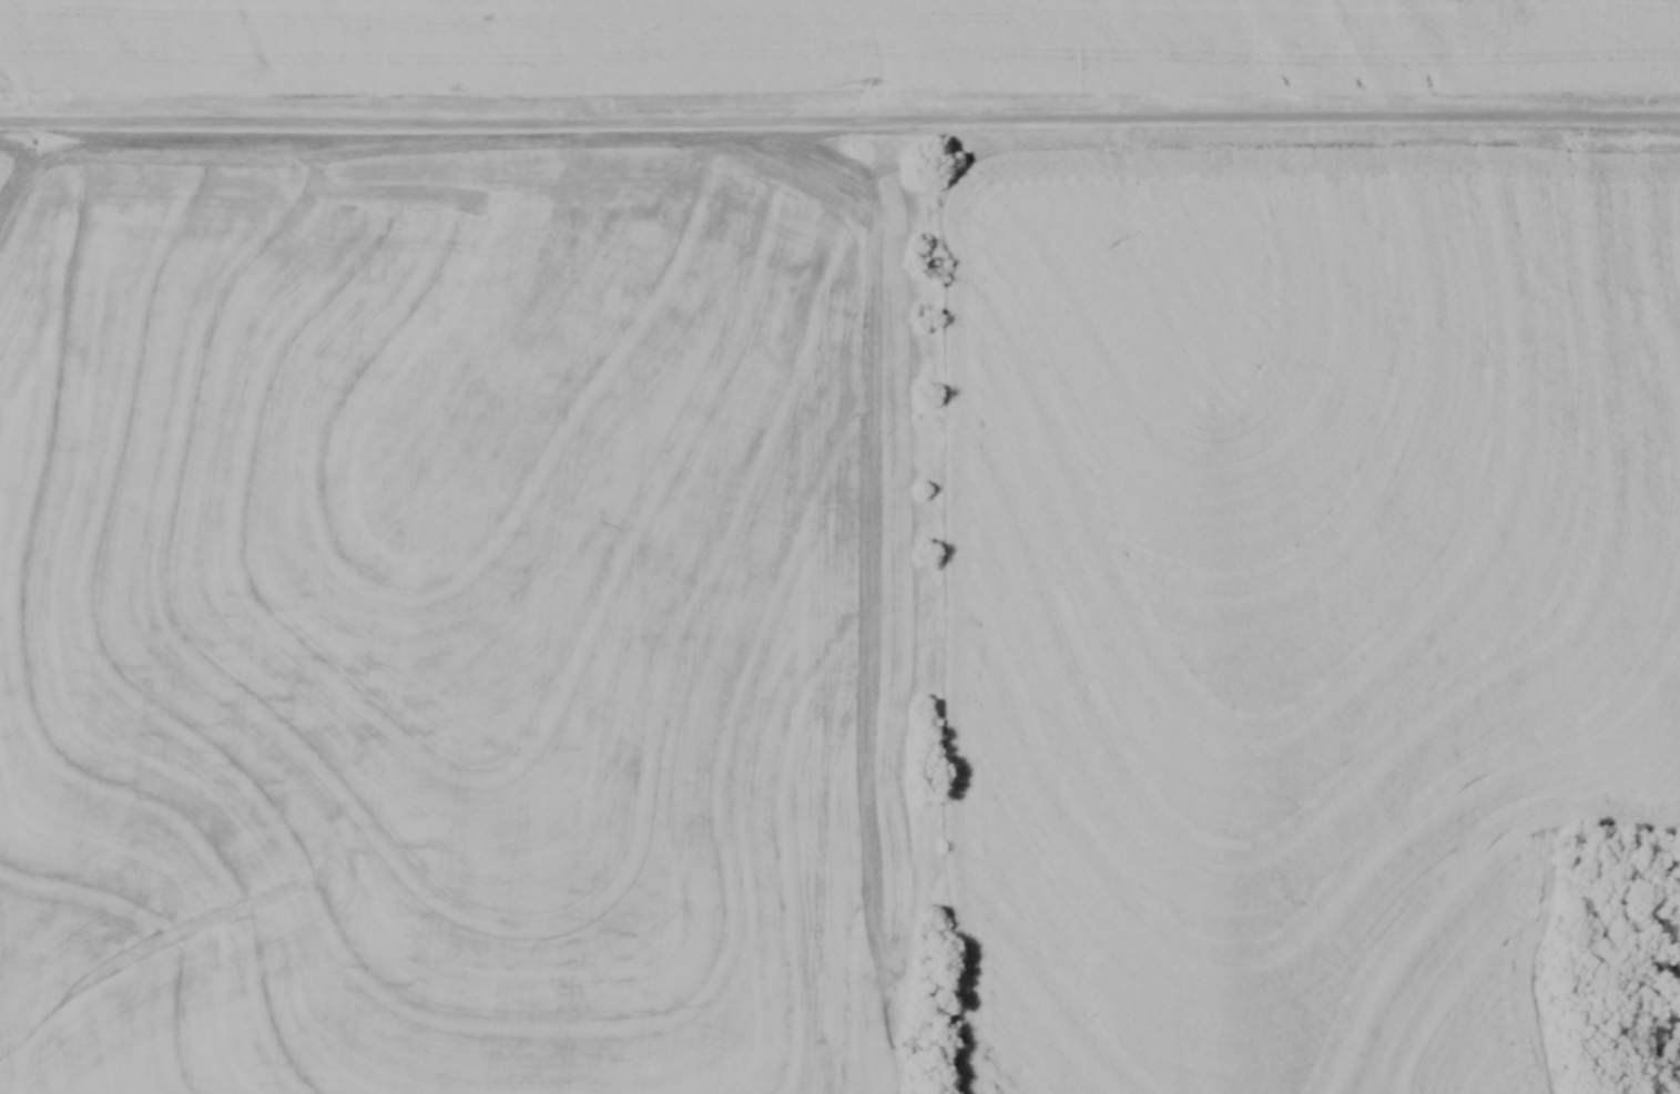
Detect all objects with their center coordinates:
road: (839, 123)

